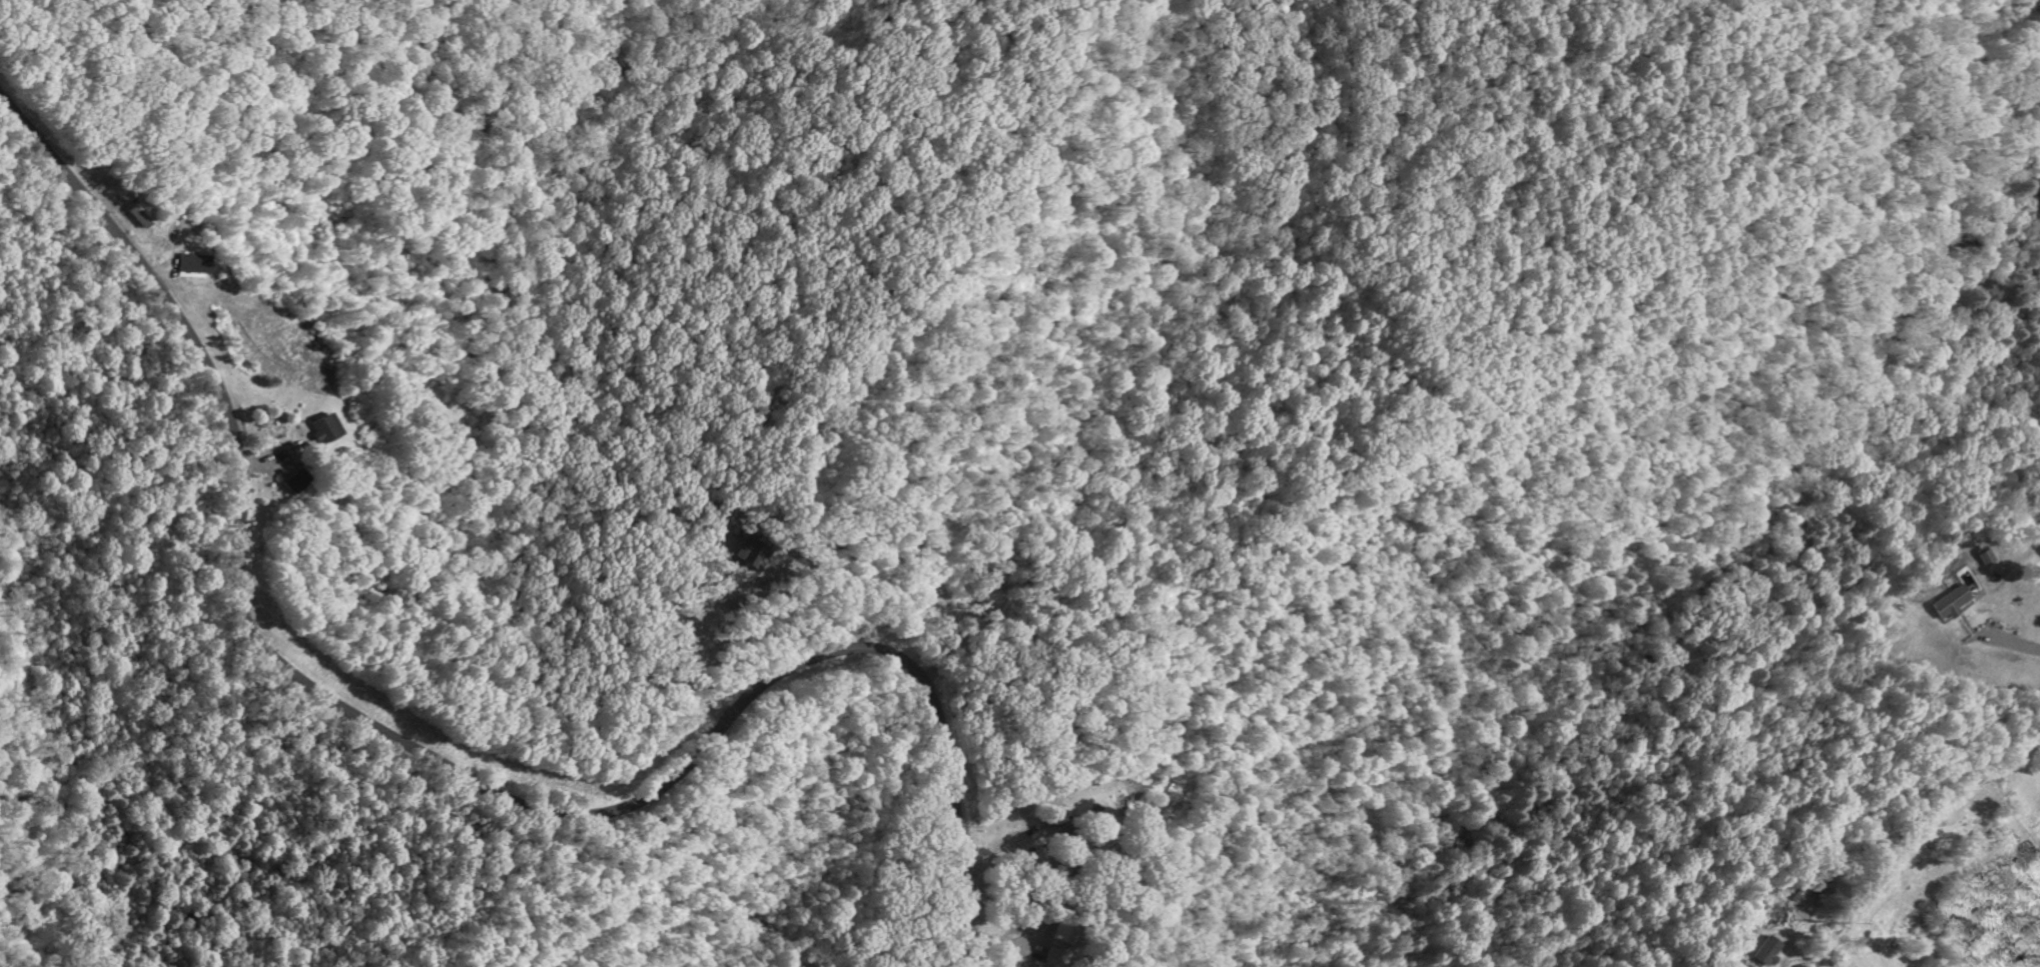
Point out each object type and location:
road: (720, 394)
building: (327, 429)
building: (300, 481)
building: (753, 551)
building: (1980, 558)
building: (1947, 603)
road: (437, 764)
road: (1912, 839)
building: (1069, 933)
building: (1764, 952)
building: (1060, 957)

